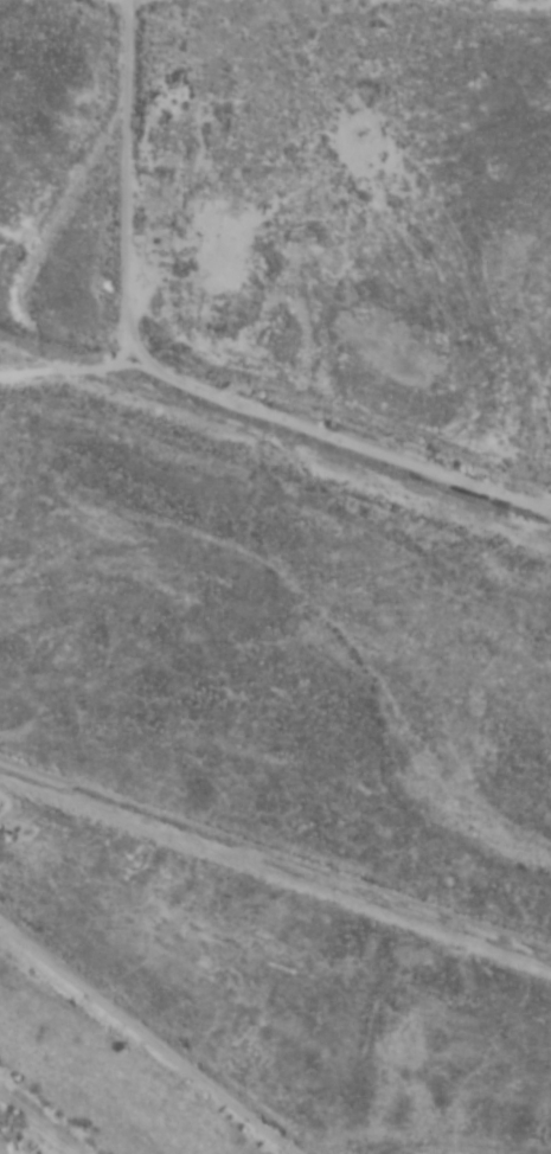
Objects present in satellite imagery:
road: (44, 342)
road: (174, 361)
road: (275, 876)
road: (156, 1044)

